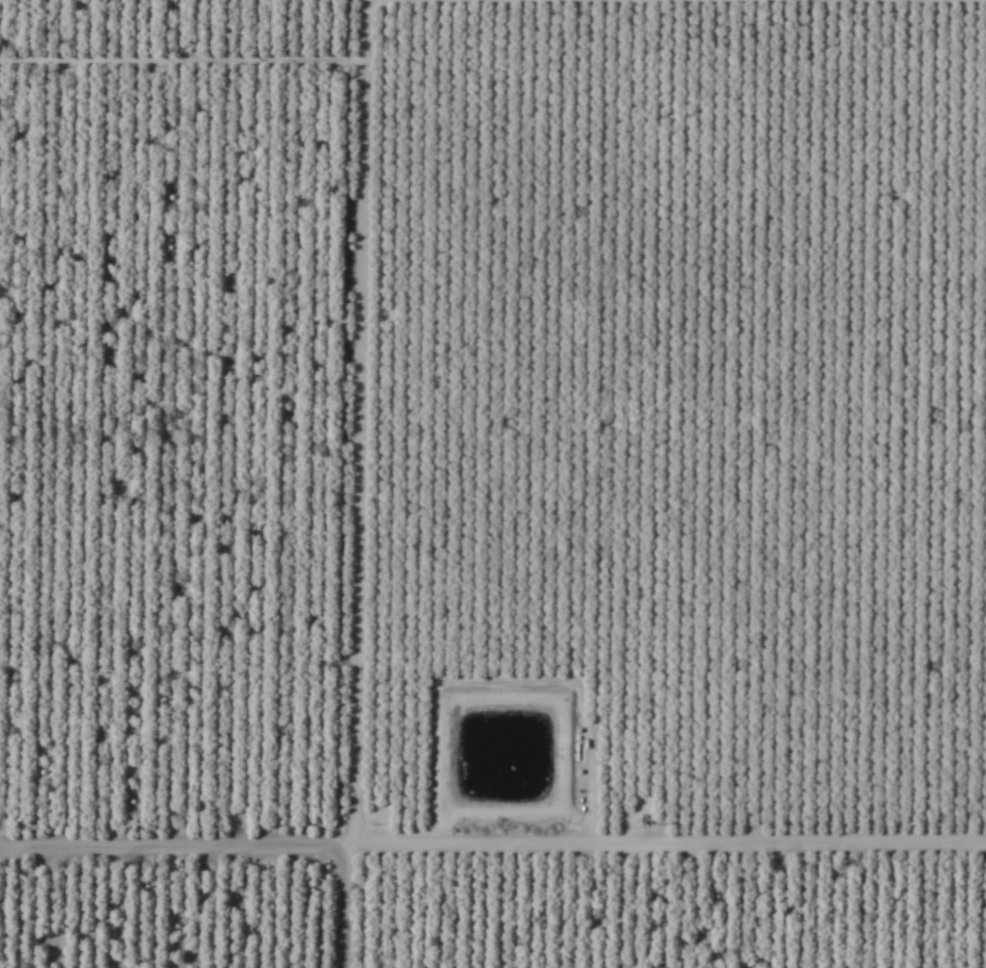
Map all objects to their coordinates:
crop: (493, 484)
road: (493, 810)

